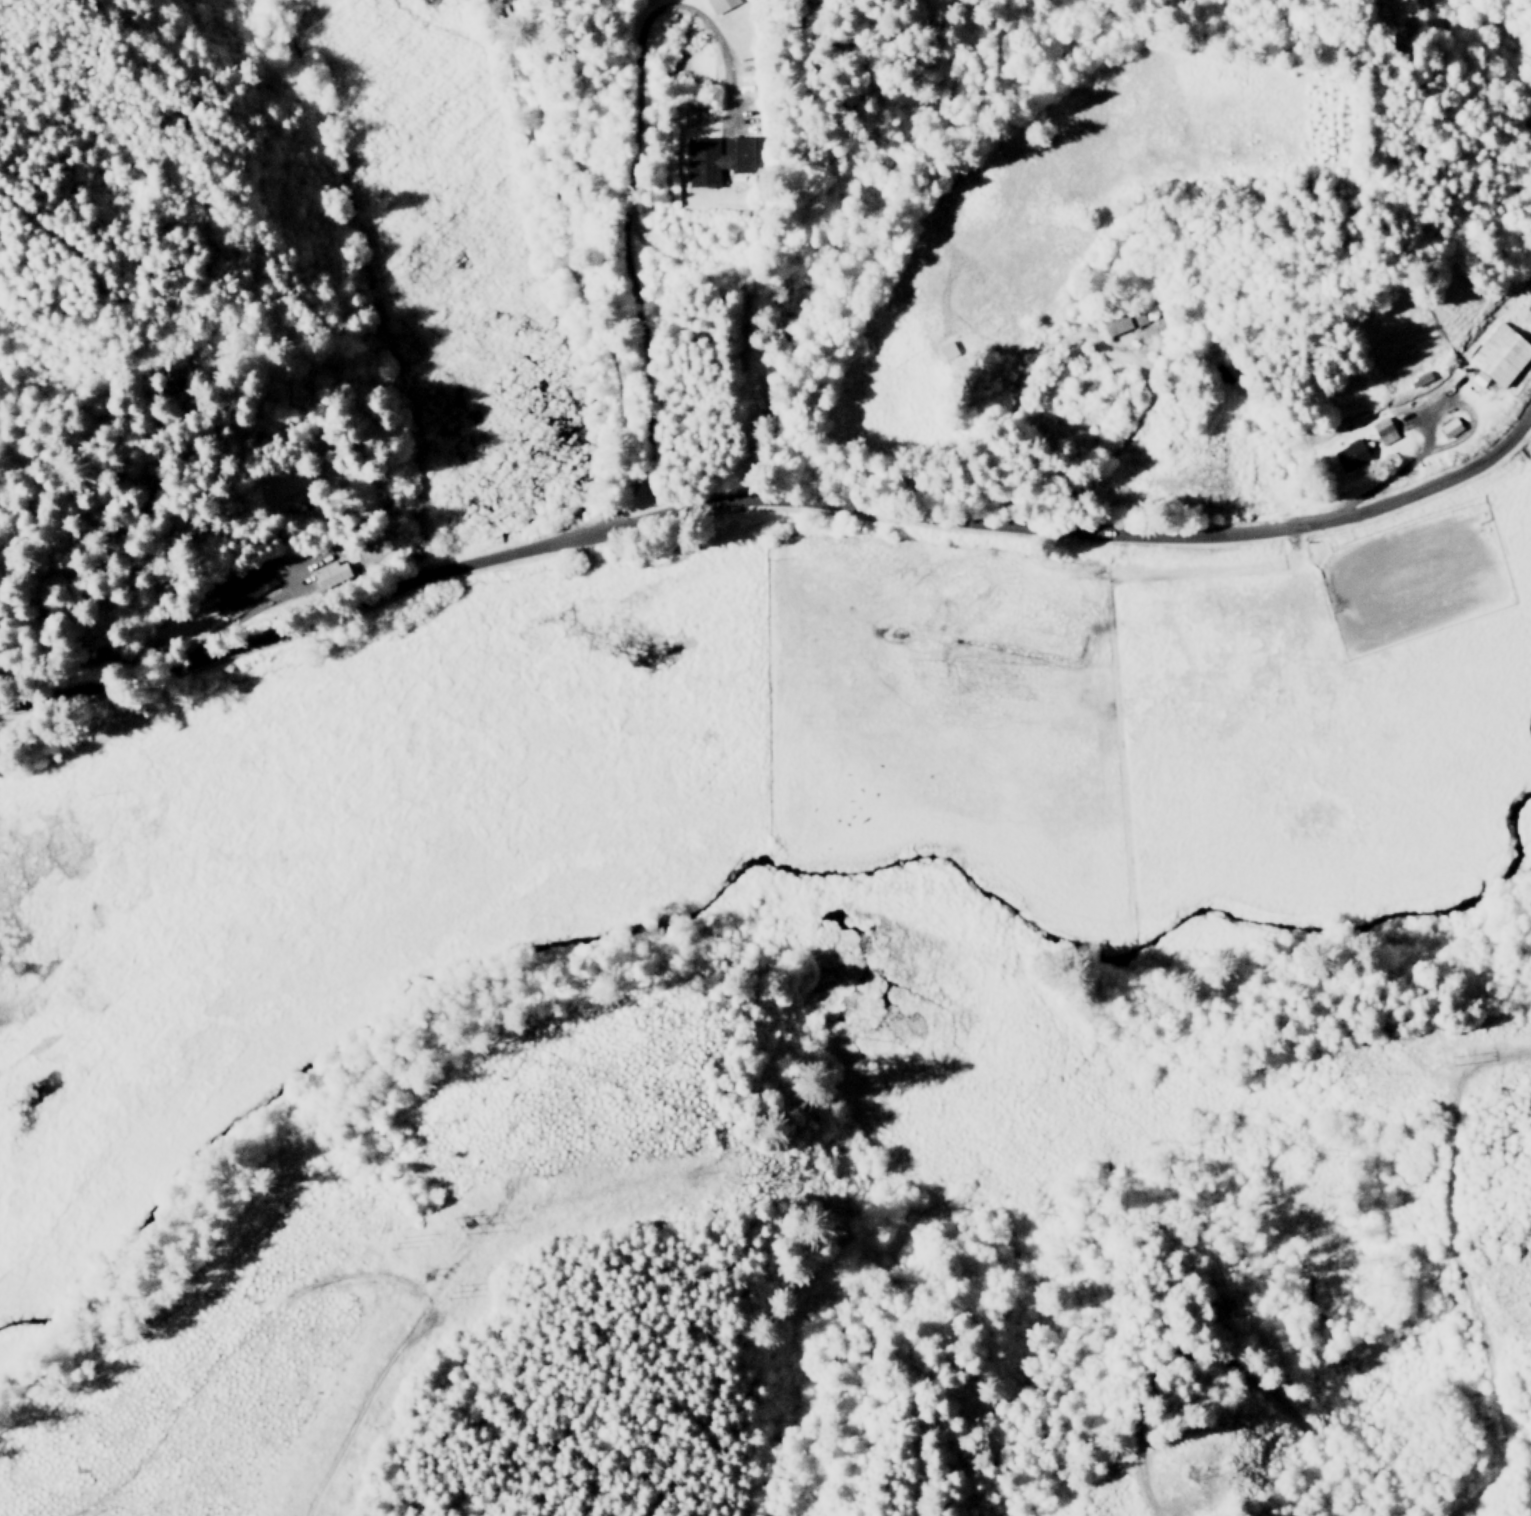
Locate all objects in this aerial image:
building: (700, 161)
road: (575, 257)
building: (1122, 321)
building: (1496, 355)
building: (1447, 426)
building: (1381, 430)
building: (1347, 454)
road: (770, 503)
building: (230, 594)
power tower: (1452, 1056)
power tower: (739, 1177)
power tower: (454, 1218)
road: (1459, 1282)
road: (1222, 1361)
power tower: (1183, 1472)

